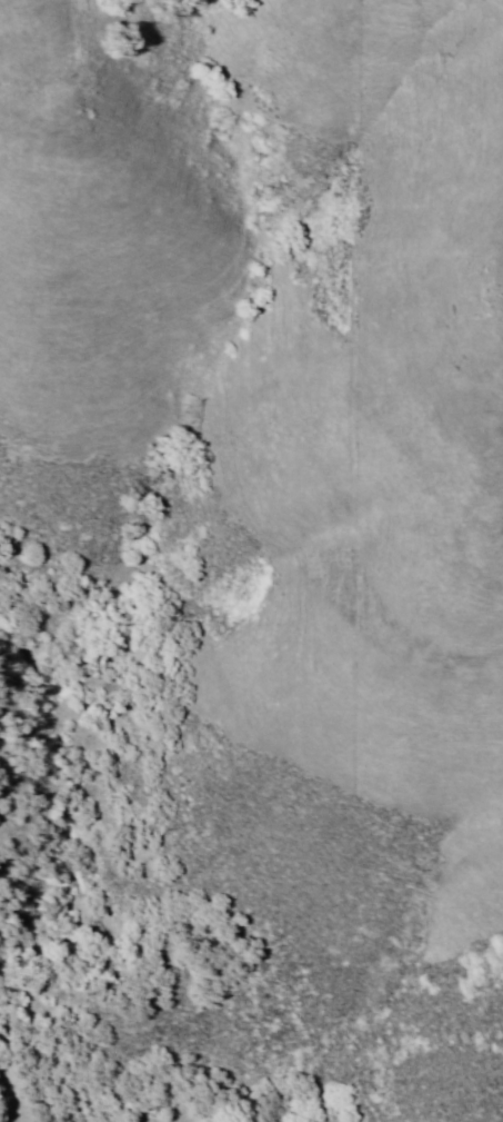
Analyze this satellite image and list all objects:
road: (51, 58)
road: (4, 731)

